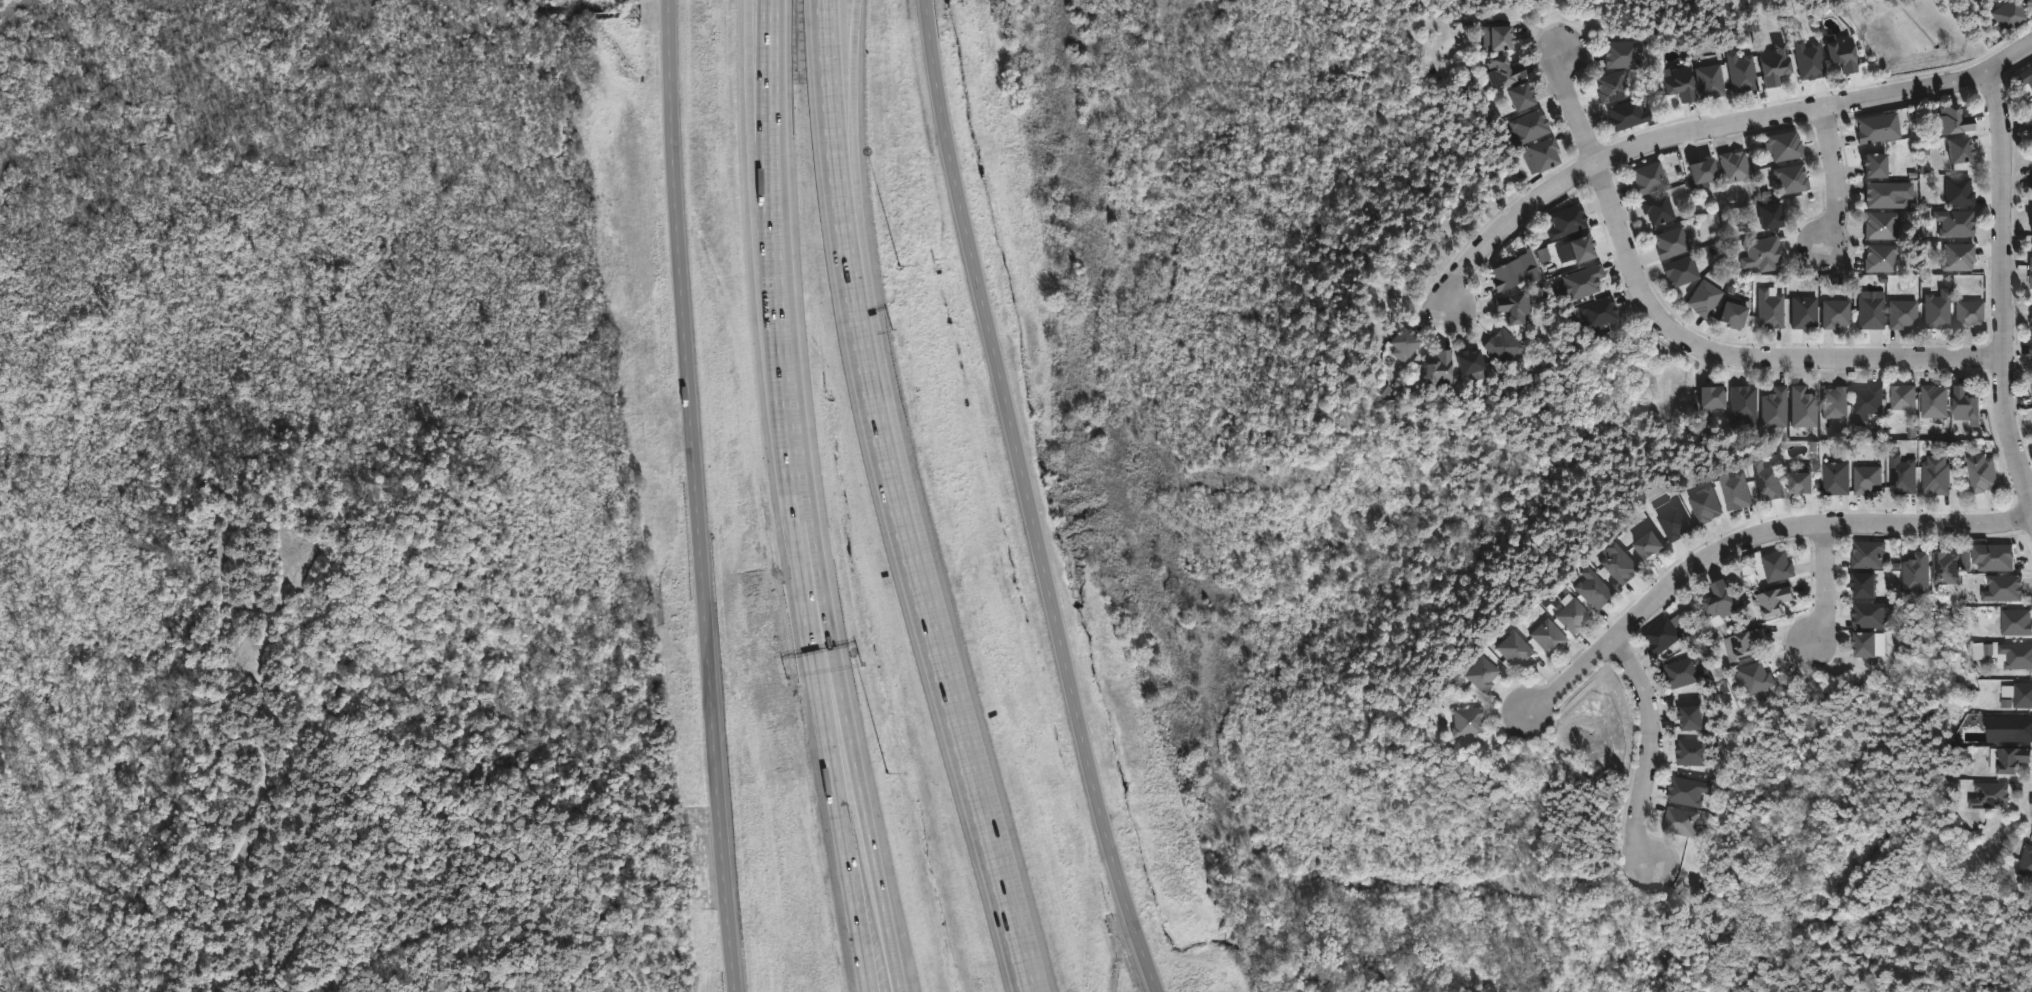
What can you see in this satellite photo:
building: (1988, 1)
building: (2006, 14)
road: (748, 21)
road: (856, 32)
building: (1504, 35)
building: (1837, 50)
road: (2024, 51)
building: (1621, 53)
building: (1807, 59)
building: (1771, 63)
road: (772, 67)
building: (1511, 70)
building: (1740, 71)
building: (2026, 77)
road: (829, 78)
building: (1708, 80)
building: (1676, 82)
building: (1610, 86)
road: (760, 89)
building: (1528, 94)
building: (2030, 104)
road: (846, 110)
building: (1625, 113)
building: (1952, 119)
building: (2031, 121)
building: (1531, 124)
building: (1872, 128)
road: (1703, 132)
building: (1781, 145)
building: (1956, 148)
building: (1539, 154)
building: (1871, 164)
building: (1732, 165)
building: (1698, 169)
building: (1647, 177)
road: (1839, 177)
building: (1790, 178)
building: (2031, 181)
road: (773, 187)
building: (1956, 190)
building: (1884, 194)
building: (1656, 208)
building: (1767, 214)
building: (1564, 221)
building: (1953, 221)
building: (2030, 222)
building: (1879, 224)
building: (1669, 241)
building: (1578, 245)
building: (1758, 251)
building: (1957, 255)
building: (1878, 257)
building: (2030, 263)
street lamp: (900, 265)
building: (1679, 270)
building: (1515, 273)
building: (1584, 279)
building: (2030, 281)
building: (2030, 290)
road: (2005, 292)
building: (1703, 298)
building: (1518, 307)
building: (1768, 307)
road: (778, 308)
building: (1935, 309)
building: (1597, 311)
building: (1729, 311)
building: (1802, 311)
building: (1870, 311)
building: (1833, 312)
building: (1901, 312)
building: (1967, 312)
building: (2030, 322)
road: (1692, 342)
building: (1410, 343)
building: (1505, 344)
road: (862, 346)
building: (2030, 352)
building: (1475, 361)
building: (1444, 369)
building: (2030, 391)
building: (1707, 396)
building: (1902, 397)
building: (1867, 400)
building: (1833, 402)
building: (1933, 402)
building: (1742, 404)
building: (1963, 404)
building: (1773, 407)
building: (1801, 407)
building: (1980, 473)
building: (1901, 474)
building: (1835, 478)
building: (1935, 478)
building: (1867, 479)
building: (1766, 480)
building: (1798, 482)
road: (801, 486)
building: (1735, 490)
road: (702, 496)
road: (1035, 498)
building: (1704, 505)
building: (1672, 522)
road: (1751, 541)
building: (1646, 546)
building: (1867, 555)
building: (1993, 556)
building: (1615, 563)
building: (1776, 566)
building: (1945, 568)
building: (1916, 573)
road: (1823, 584)
building: (1861, 586)
building: (2002, 588)
building: (1590, 589)
building: (1717, 601)
building: (1772, 602)
building: (1869, 614)
building: (1568, 615)
building: (2016, 621)
building: (1662, 634)
road: (829, 637)
building: (1545, 637)
road: (820, 639)
building: (1745, 644)
building: (1860, 645)
building: (1511, 650)
building: (2014, 655)
building: (1683, 671)
building: (1477, 674)
building: (1754, 677)
building: (2019, 694)
building: (1688, 716)
building: (1464, 721)
building: (2016, 728)
road: (1655, 748)
building: (1693, 751)
building: (2011, 757)
road: (967, 763)
street lamp: (888, 773)
building: (1684, 789)
building: (1988, 795)
building: (1675, 819)
road: (871, 836)
road: (846, 838)
building: (2025, 860)

